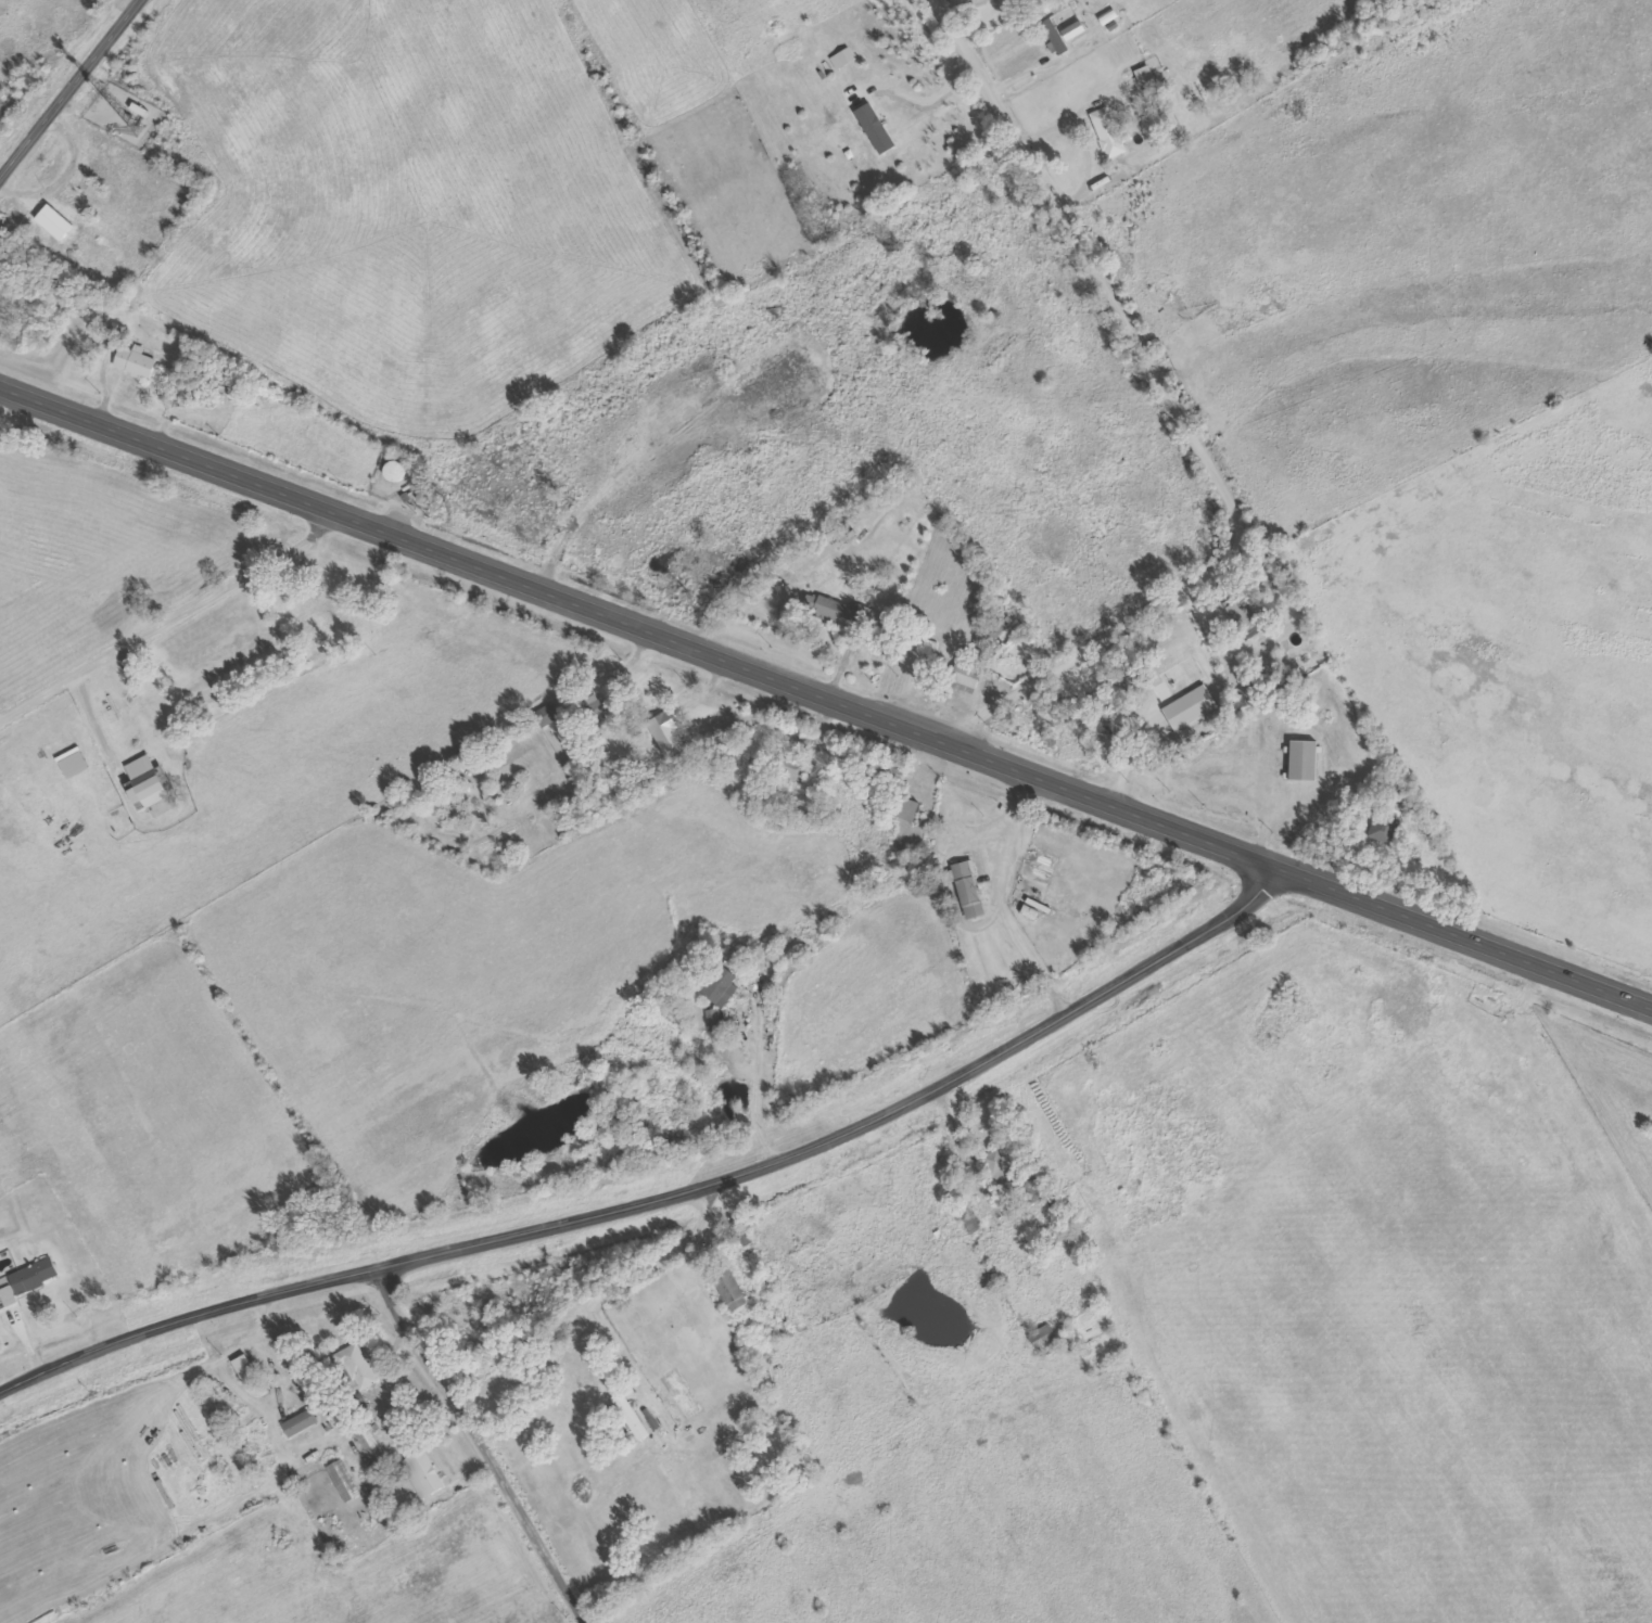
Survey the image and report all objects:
building: (1075, 30)
building: (1056, 37)
building: (1146, 75)
road: (66, 80)
building: (139, 110)
building: (1104, 110)
building: (1110, 142)
building: (135, 362)
road: (1183, 421)
building: (686, 542)
road: (167, 610)
building: (842, 612)
building: (1243, 616)
building: (966, 675)
road: (826, 690)
building: (597, 710)
building: (1192, 710)
building: (130, 713)
building: (546, 715)
building: (666, 736)
road: (1192, 738)
building: (1304, 762)
building: (74, 763)
building: (793, 770)
building: (151, 781)
building: (902, 808)
building: (1383, 828)
road: (862, 886)
building: (971, 892)
building: (720, 987)
building: (713, 1019)
building: (997, 1166)
building: (1031, 1190)
road: (672, 1198)
building: (974, 1223)
building: (28, 1279)
building: (730, 1289)
road: (596, 1300)
building: (1042, 1338)
building: (354, 1366)
building: (243, 1368)
building: (632, 1417)
building: (300, 1423)
road: (482, 1445)
building: (371, 1447)
building: (421, 1474)
building: (343, 1481)

